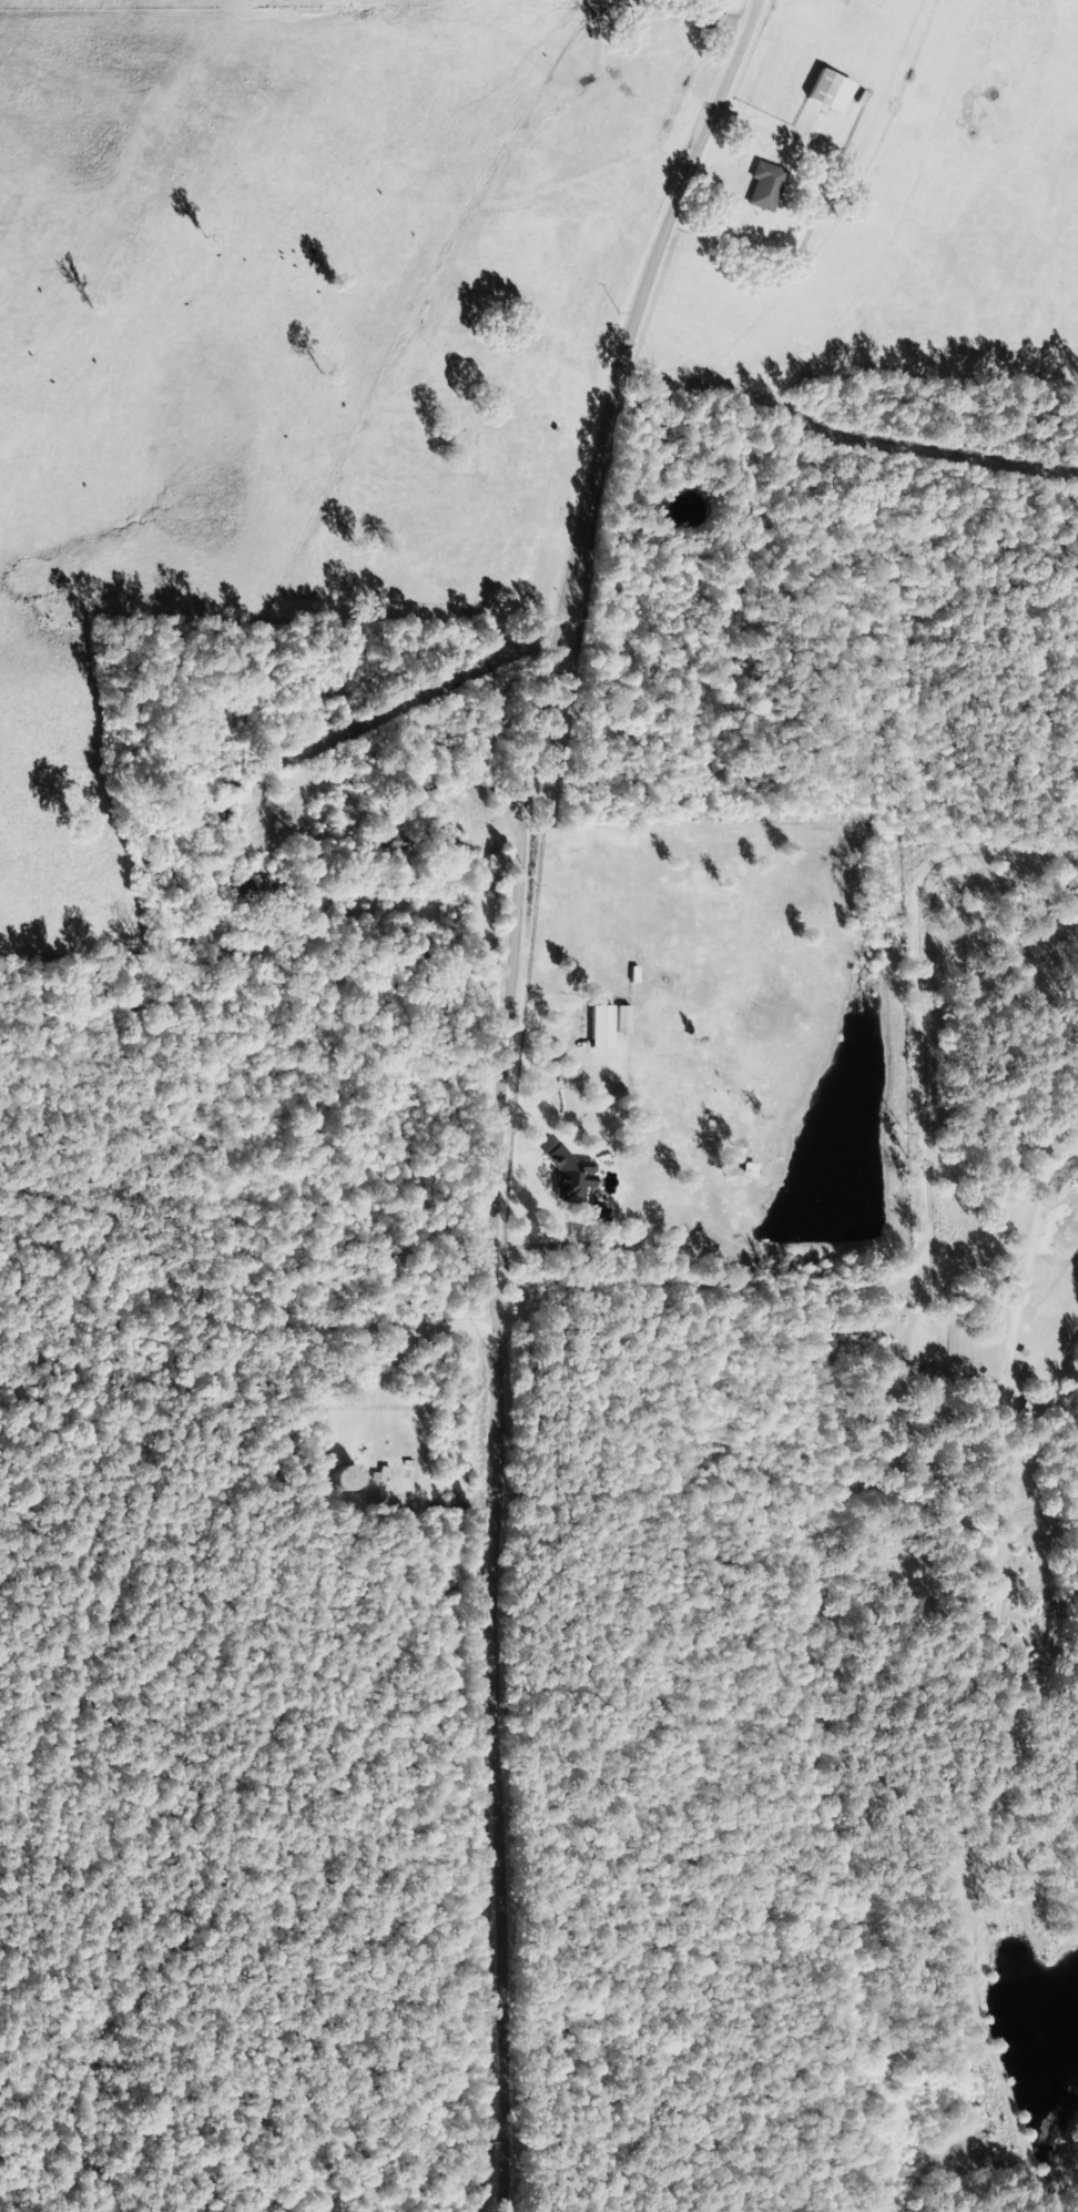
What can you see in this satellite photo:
building: (820, 89)
building: (764, 186)
road: (582, 376)
road: (757, 564)
road: (314, 773)
building: (427, 782)
building: (230, 784)
building: (220, 816)
building: (265, 886)
building: (1027, 1411)
building: (345, 1479)
road: (484, 1491)

